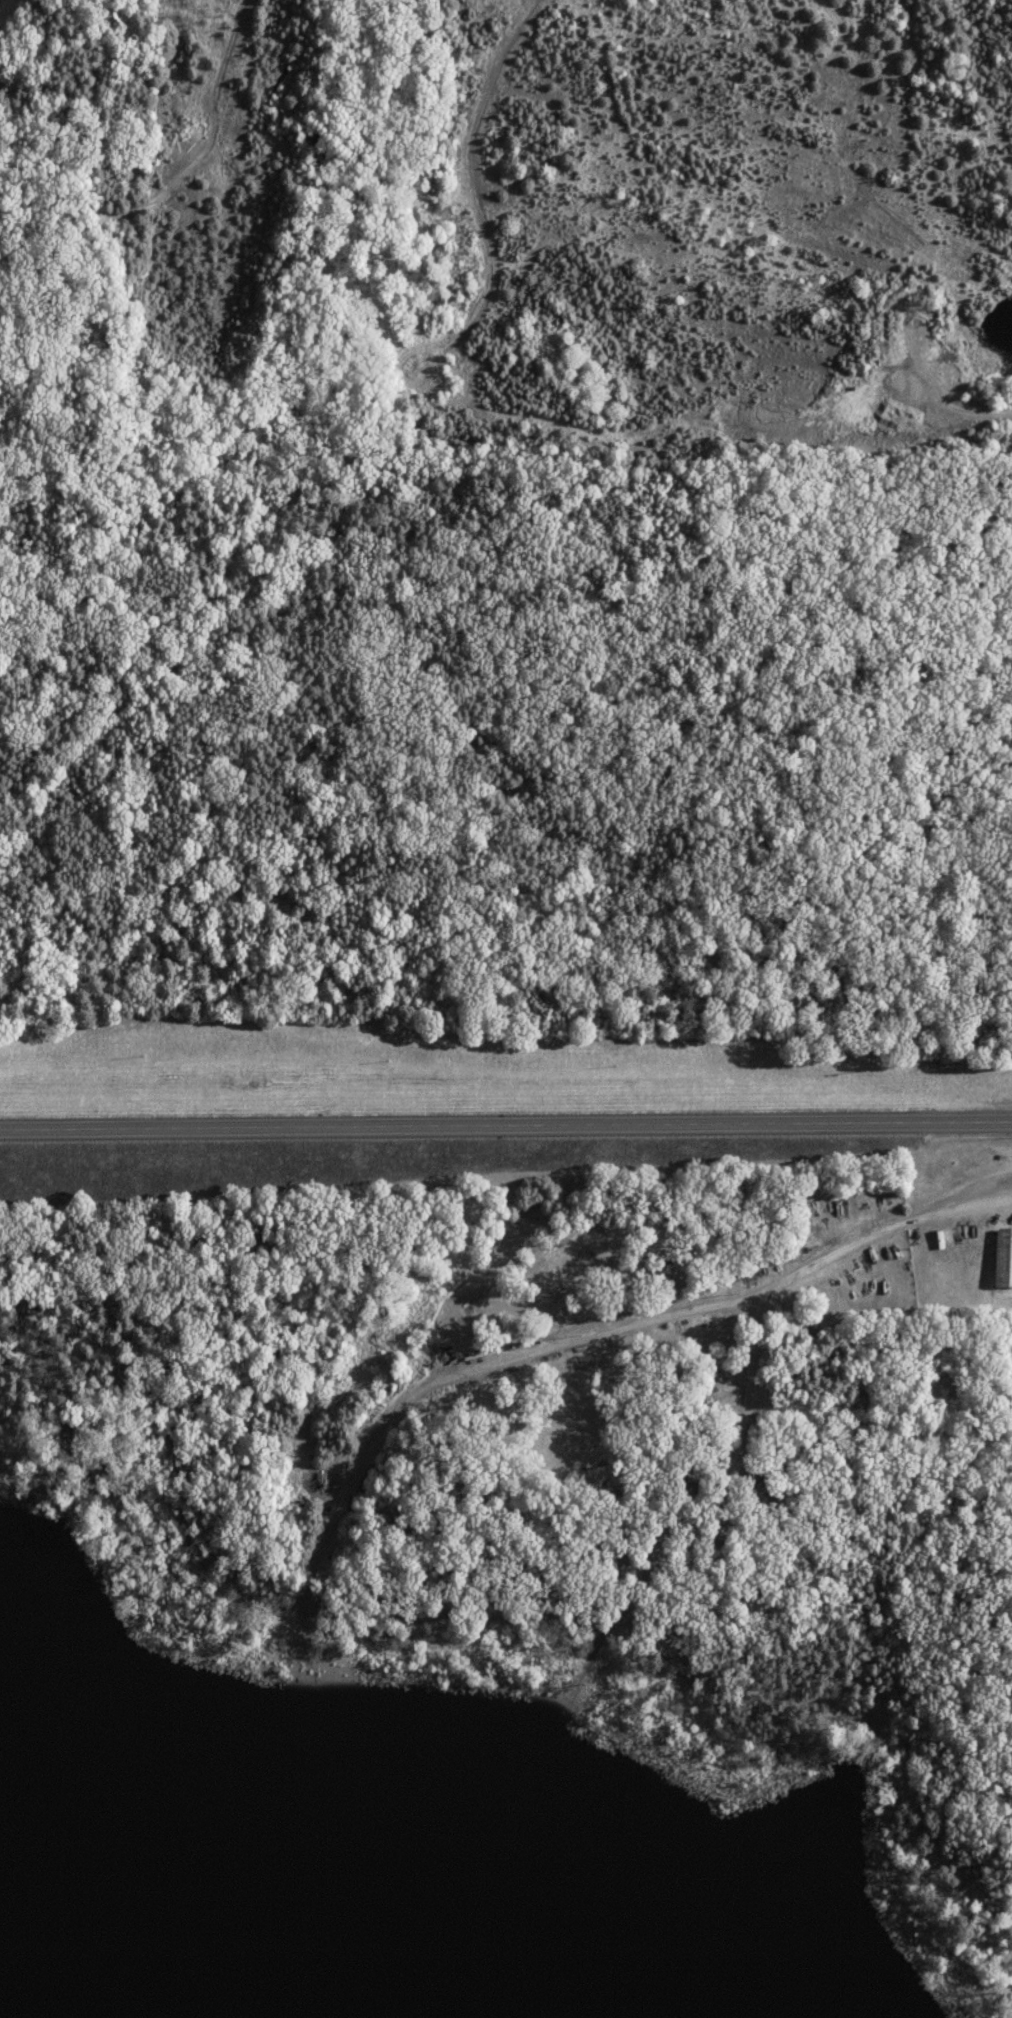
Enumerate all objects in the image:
road: (506, 1132)
building: (1000, 1259)
building: (454, 1325)
road: (576, 1348)
road: (970, 1951)

